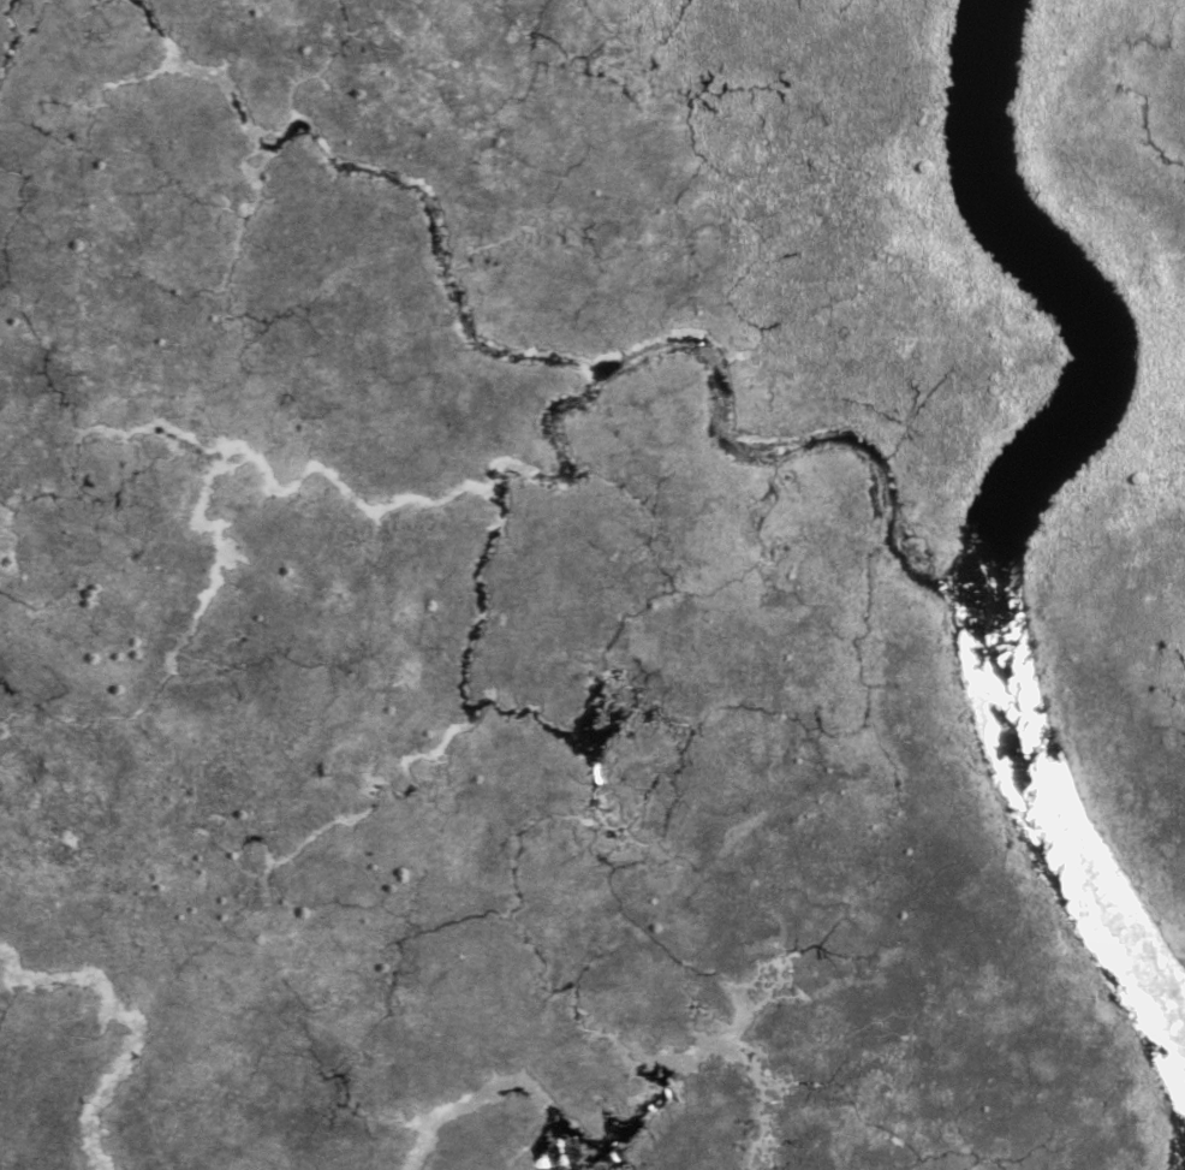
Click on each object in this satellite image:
river: (1004, 521)

